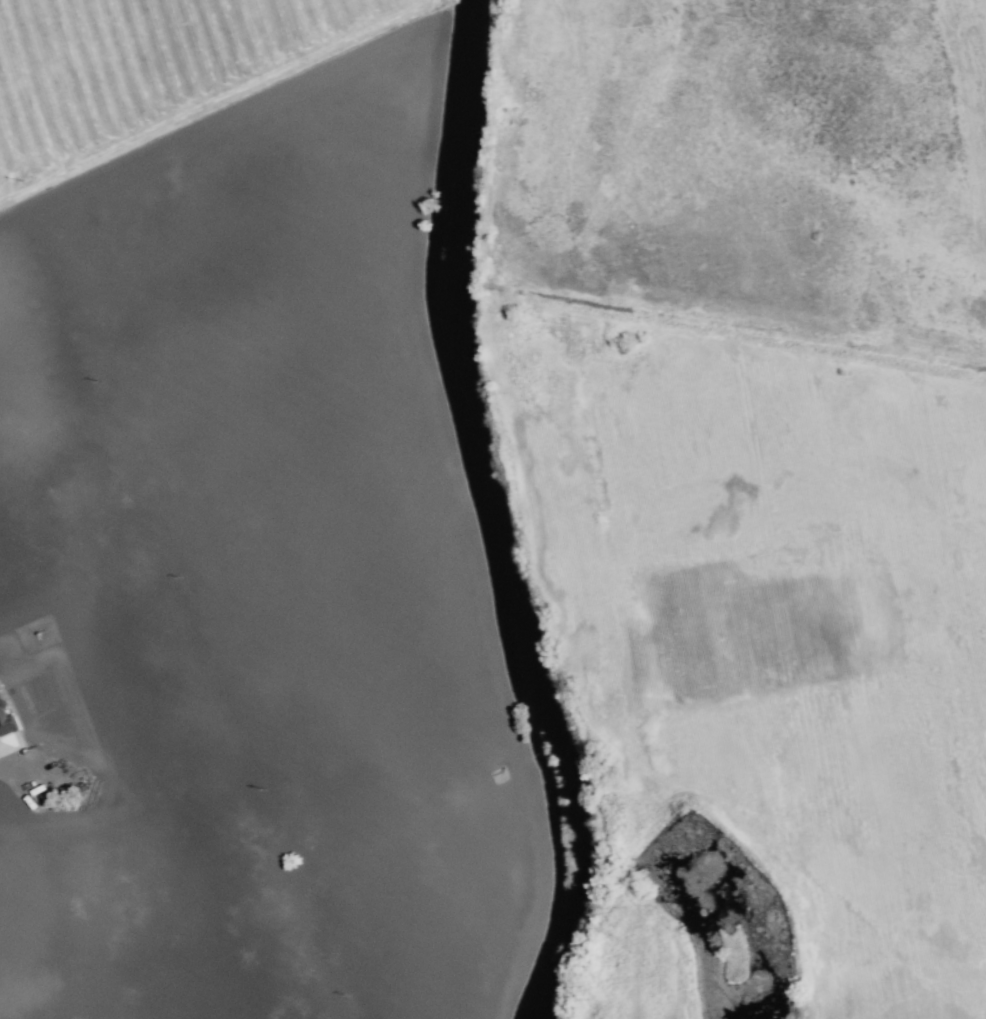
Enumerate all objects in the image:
crop: (228, 520)
building: (5, 717)
crop: (510, 743)

